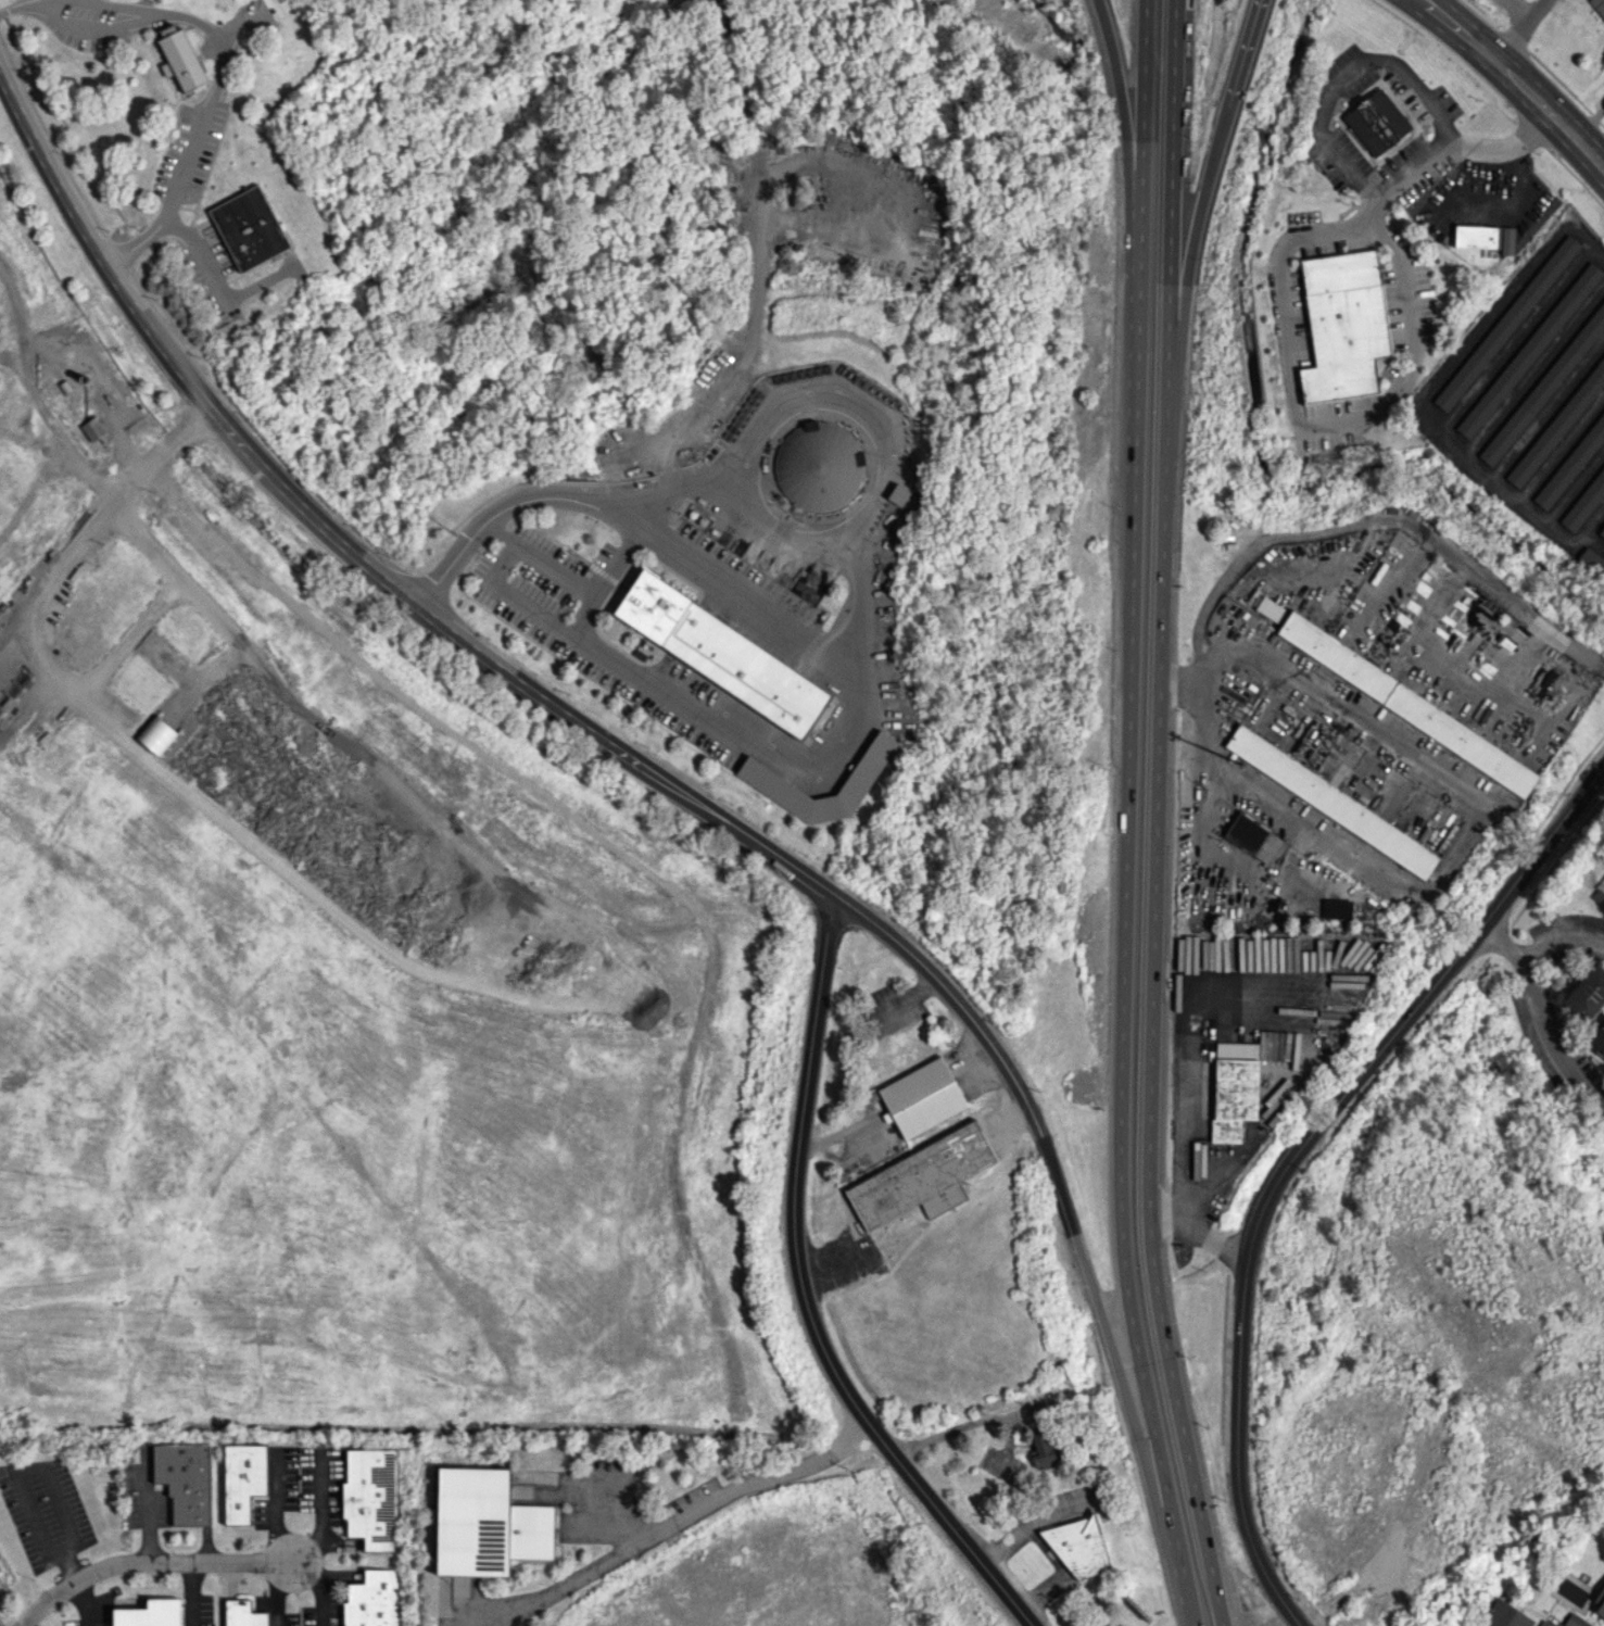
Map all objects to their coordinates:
road: (23, 4)
building: (1597, 7)
road: (1519, 10)
road: (1474, 24)
road: (1519, 29)
road: (1440, 34)
building: (181, 61)
road: (1346, 77)
road: (214, 85)
road: (1120, 94)
building: (1376, 122)
road: (1548, 122)
road: (1211, 167)
road: (1516, 204)
building: (249, 227)
building: (1475, 237)
building: (1506, 241)
building: (1506, 323)
road: (1286, 324)
building: (1343, 325)
building: (1528, 350)
building: (1545, 386)
road: (852, 401)
road: (42, 406)
building: (1558, 426)
building: (92, 429)
road: (174, 436)
building: (1571, 464)
building: (818, 466)
building: (898, 494)
building: (1584, 503)
road: (1377, 517)
road: (787, 527)
building: (1601, 532)
road: (502, 533)
building: (1592, 563)
building: (1270, 608)
road: (578, 613)
road: (472, 643)
building: (721, 654)
road: (76, 685)
building: (1406, 704)
building: (155, 734)
road: (832, 746)
building: (868, 766)
building: (1331, 801)
road: (1127, 816)
road: (1157, 816)
road: (1469, 834)
building: (1252, 837)
building: (1336, 908)
road: (1561, 934)
building: (1587, 993)
road: (1538, 1018)
building: (1597, 1038)
building: (1234, 1088)
building: (921, 1097)
road: (1327, 1112)
road: (1183, 1115)
building: (920, 1178)
road: (800, 1296)
road: (1107, 1341)
road: (962, 1428)
building: (1045, 1450)
building: (242, 1479)
building: (371, 1498)
road: (319, 1514)
road: (675, 1521)
building: (487, 1523)
building: (1079, 1548)
road: (152, 1561)
road: (1264, 1573)
road: (318, 1591)
road: (290, 1592)
road: (189, 1593)
building: (371, 1599)
road: (84, 1602)
building: (1599, 1605)
building: (149, 1613)
building: (242, 1614)
building: (1503, 1615)
road: (1292, 1618)
building: (1574, 1622)
building: (1542, 1623)

